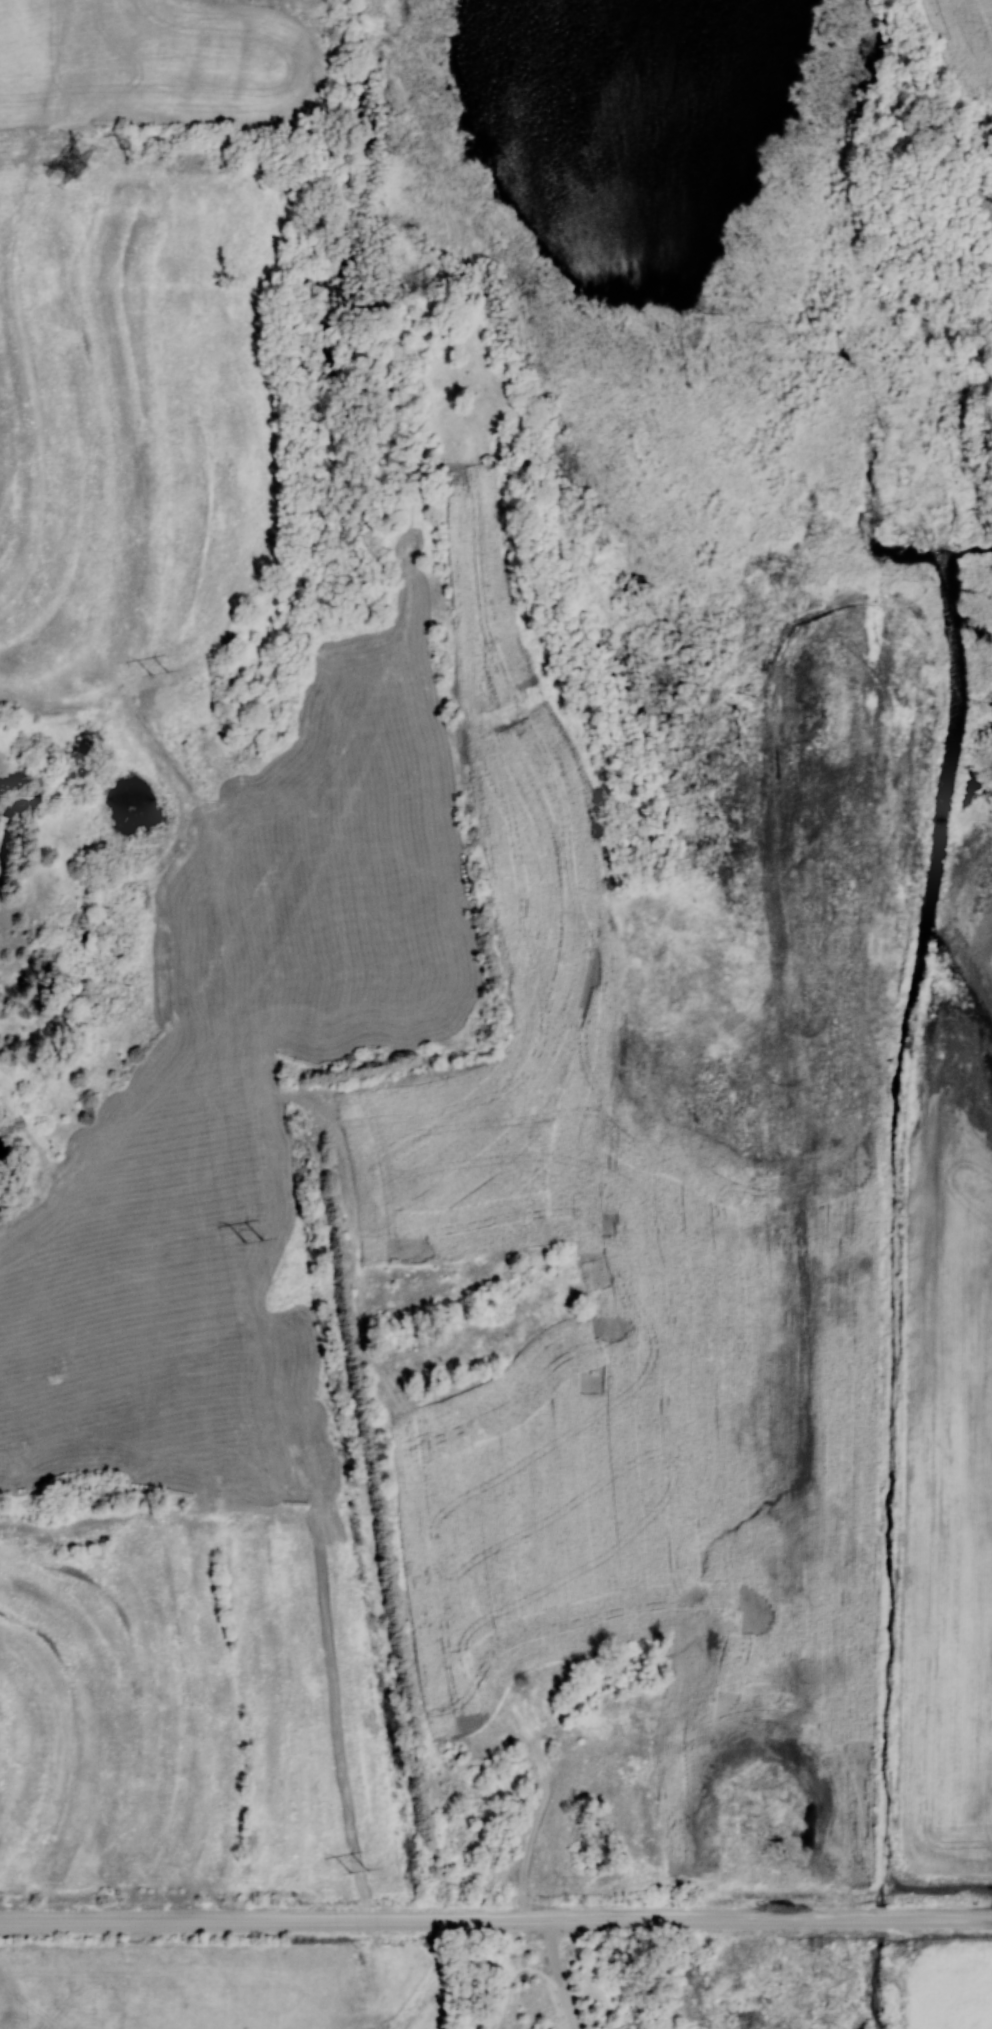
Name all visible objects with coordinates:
power tower: (75, 164)
power tower: (160, 673)
power tower: (255, 1242)
power tower: (359, 1872)
road: (496, 1918)

